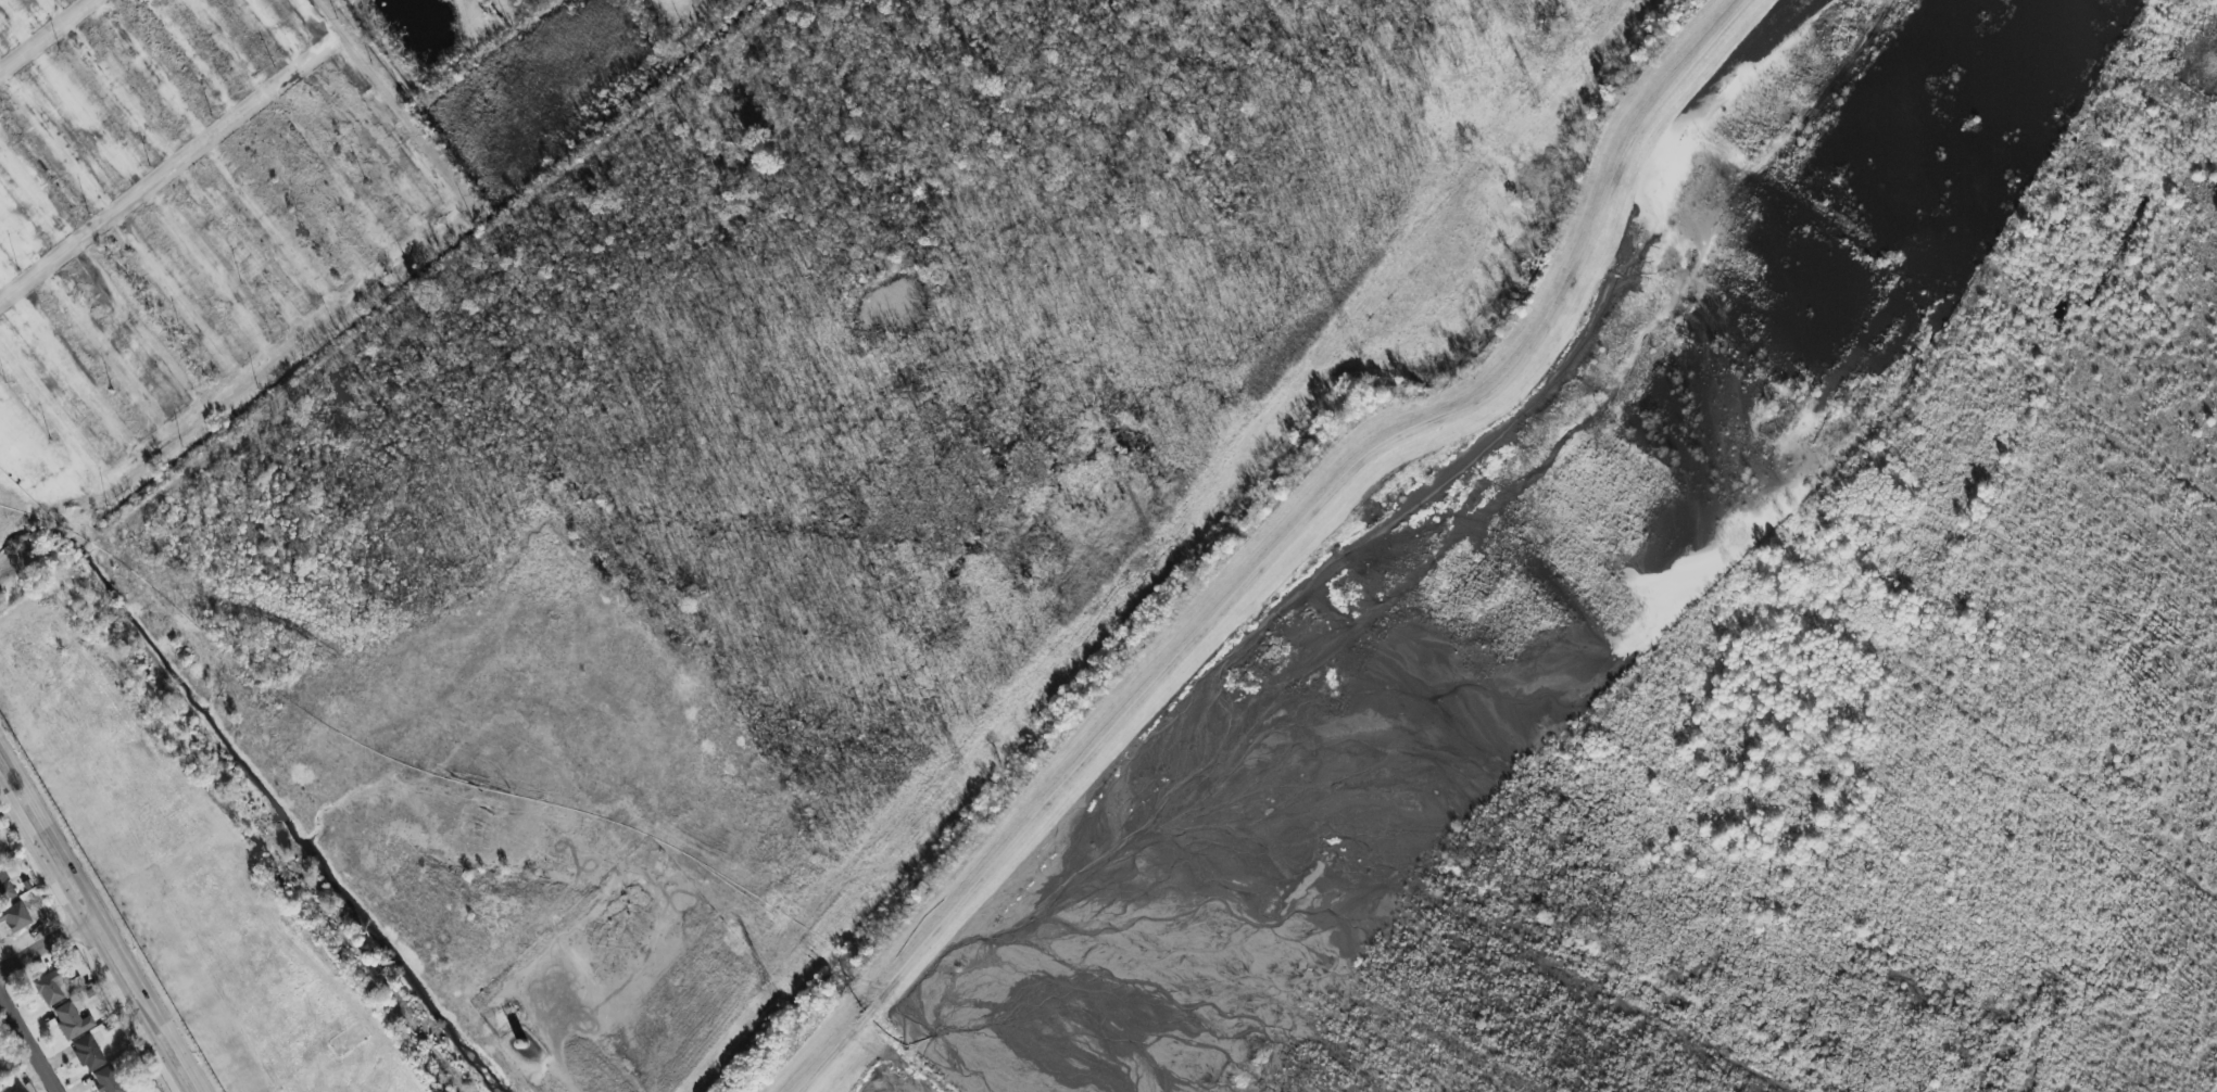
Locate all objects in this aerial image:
road: (667, 3)
road: (50, 38)
road: (289, 79)
power tower: (1538, 107)
road: (55, 270)
power tower: (1346, 328)
road: (252, 389)
power tower: (1154, 549)
power tower: (958, 772)
road: (49, 827)
building: (5, 883)
building: (14, 922)
road: (87, 940)
road: (116, 942)
road: (49, 943)
building: (56, 986)
power tower: (769, 991)
building: (71, 1020)
road: (168, 1031)
road: (28, 1042)
building: (87, 1052)
road: (540, 1055)
building: (108, 1080)

